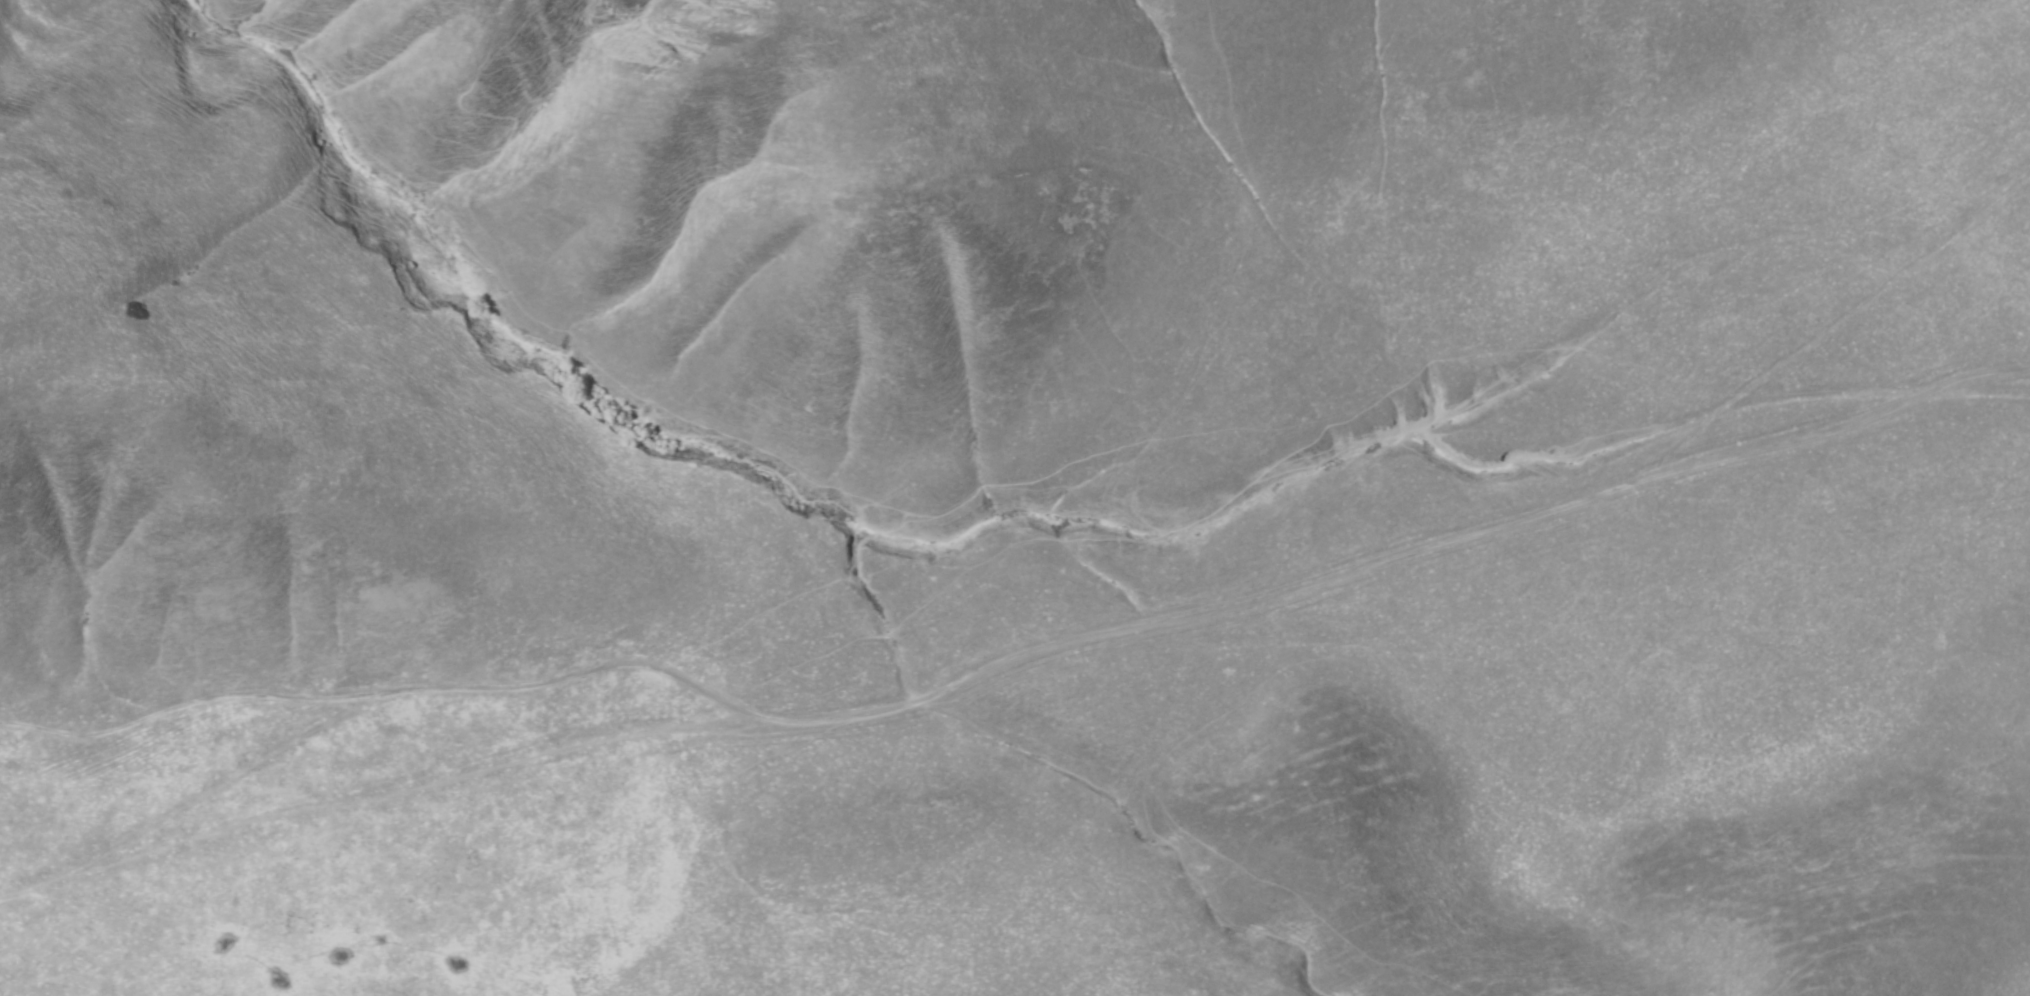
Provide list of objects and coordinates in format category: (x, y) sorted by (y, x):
road: (1023, 610)

